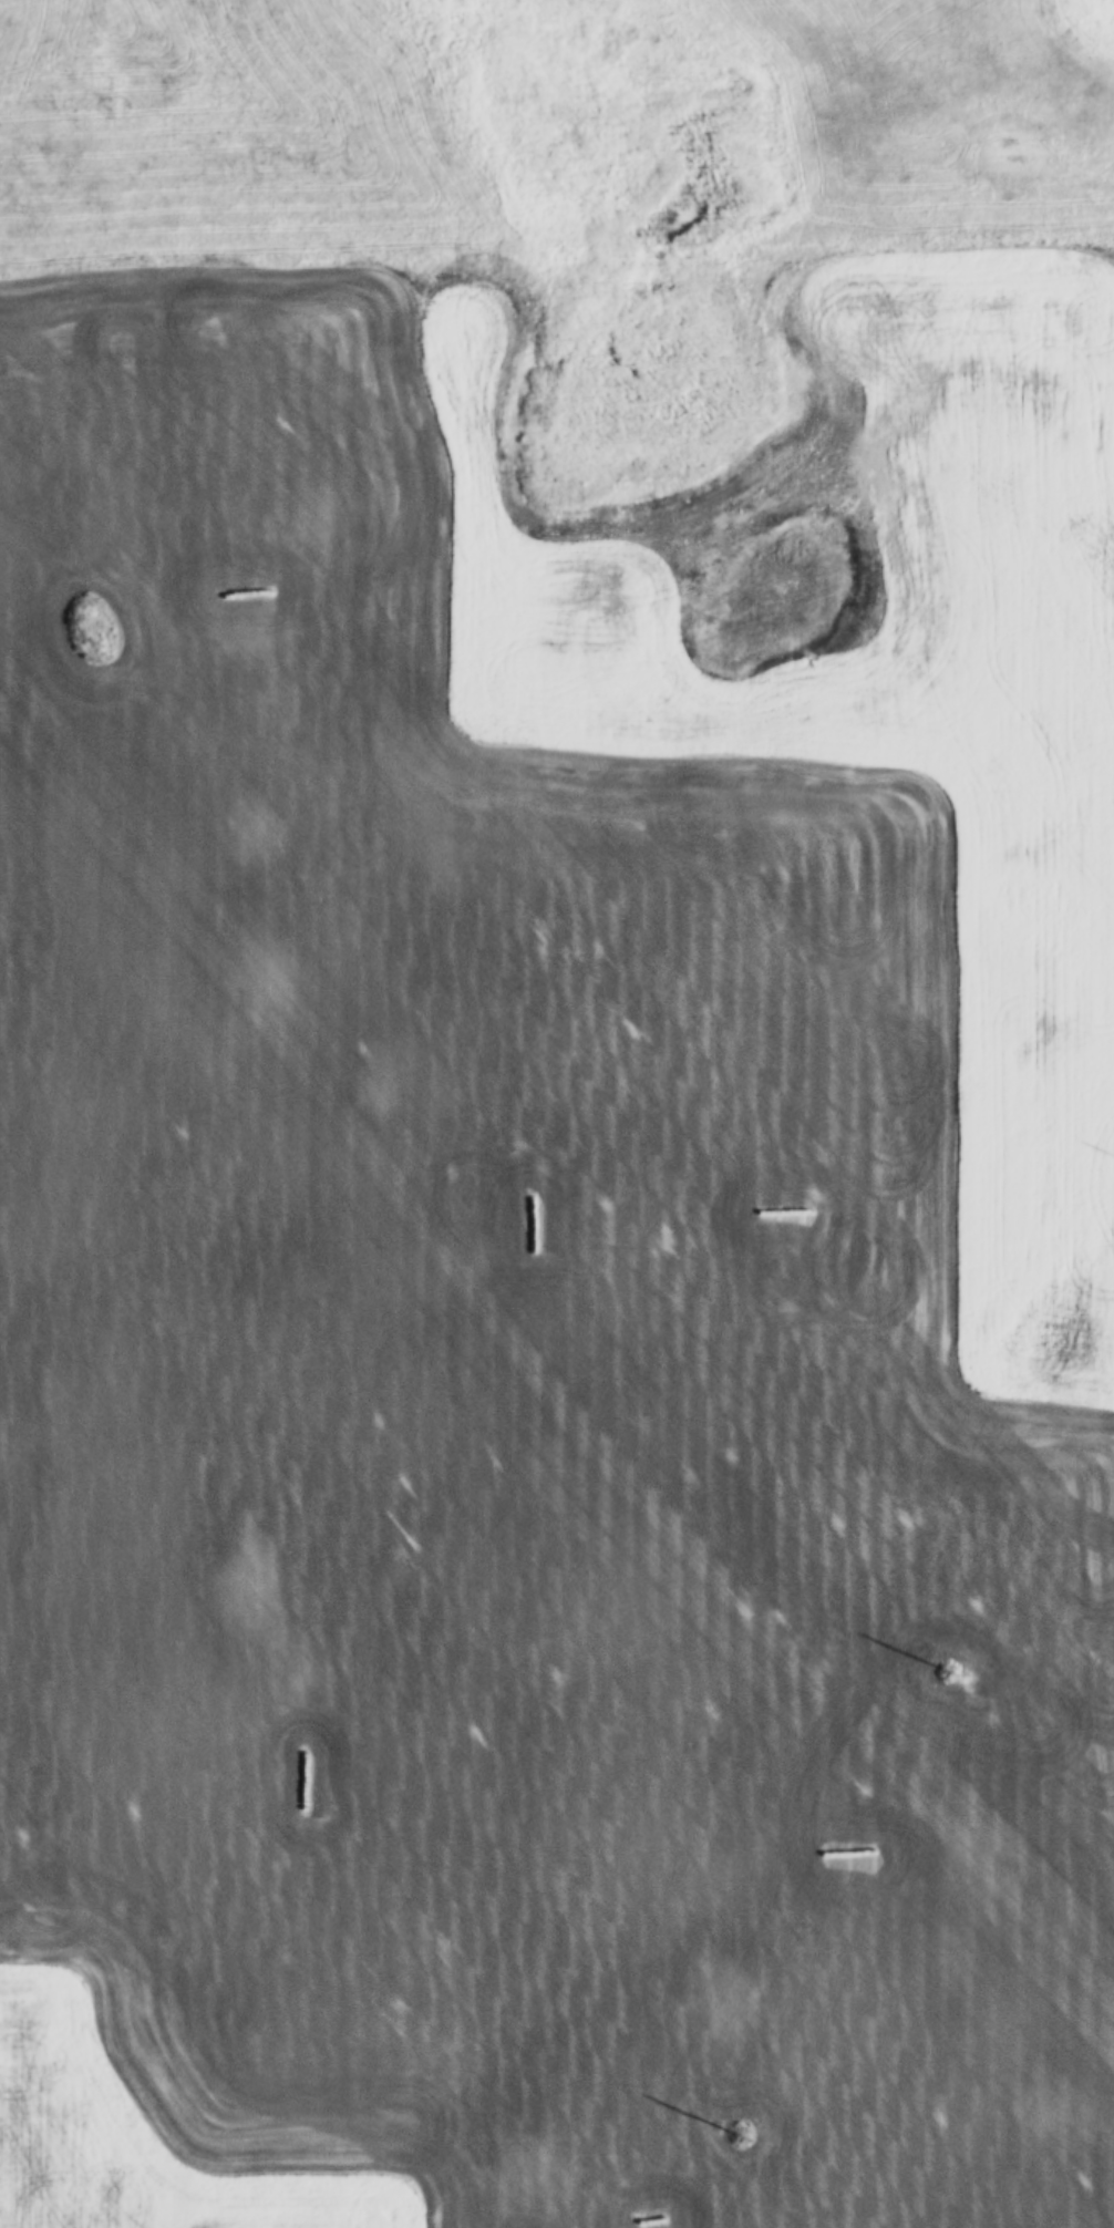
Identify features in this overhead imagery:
power tower: (946, 1663)
power tower: (741, 2127)

